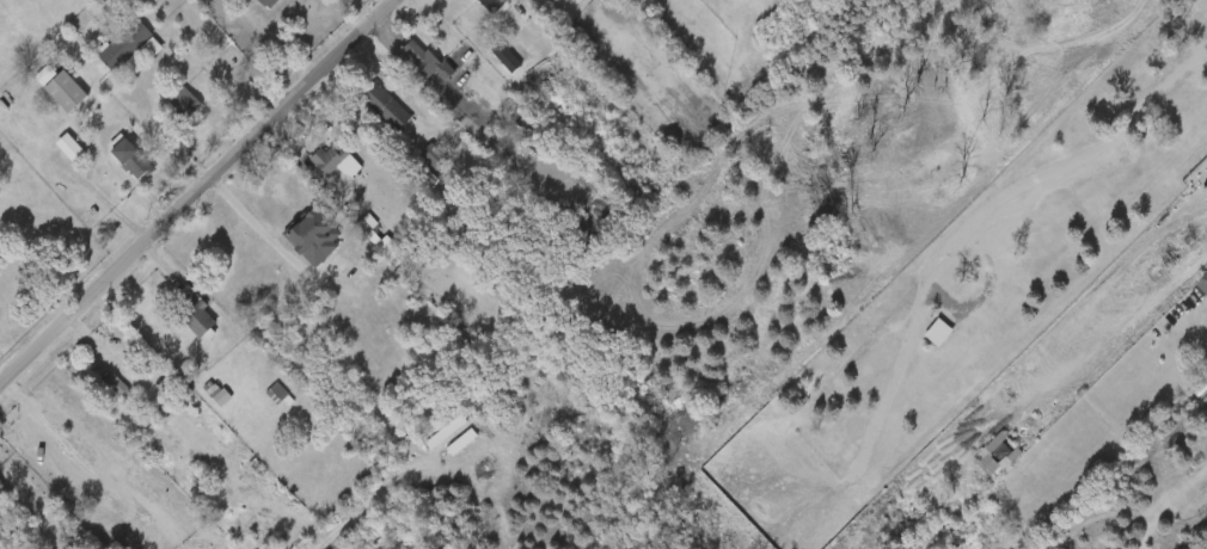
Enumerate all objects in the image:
building: (263, 1)
building: (272, 2)
building: (490, 5)
building: (125, 44)
building: (104, 54)
building: (509, 55)
building: (425, 60)
building: (71, 92)
building: (43, 101)
building: (183, 107)
building: (388, 107)
road: (467, 123)
road: (167, 138)
building: (74, 149)
building: (48, 158)
building: (133, 159)
building: (337, 161)
building: (110, 168)
road: (1044, 175)
road: (196, 192)
building: (274, 216)
road: (264, 232)
building: (312, 238)
building: (200, 317)
building: (114, 388)
road: (30, 508)

